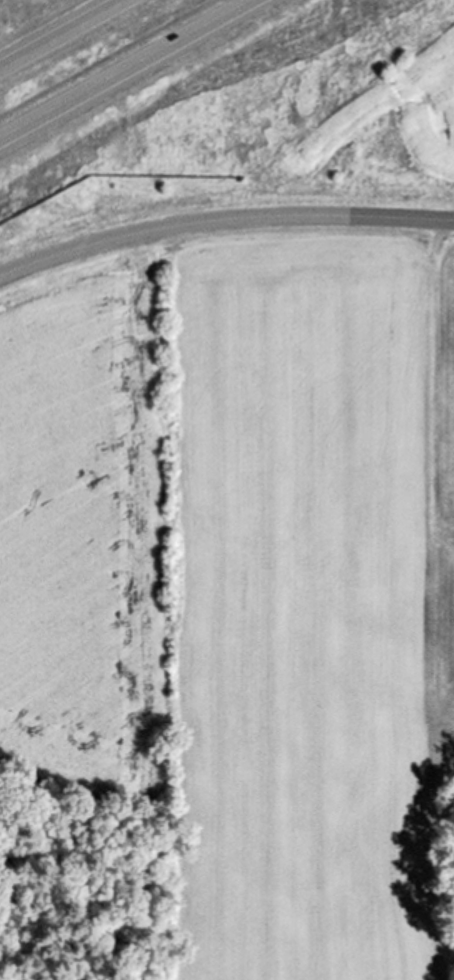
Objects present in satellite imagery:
road: (67, 36)
road: (133, 73)
road: (223, 219)

